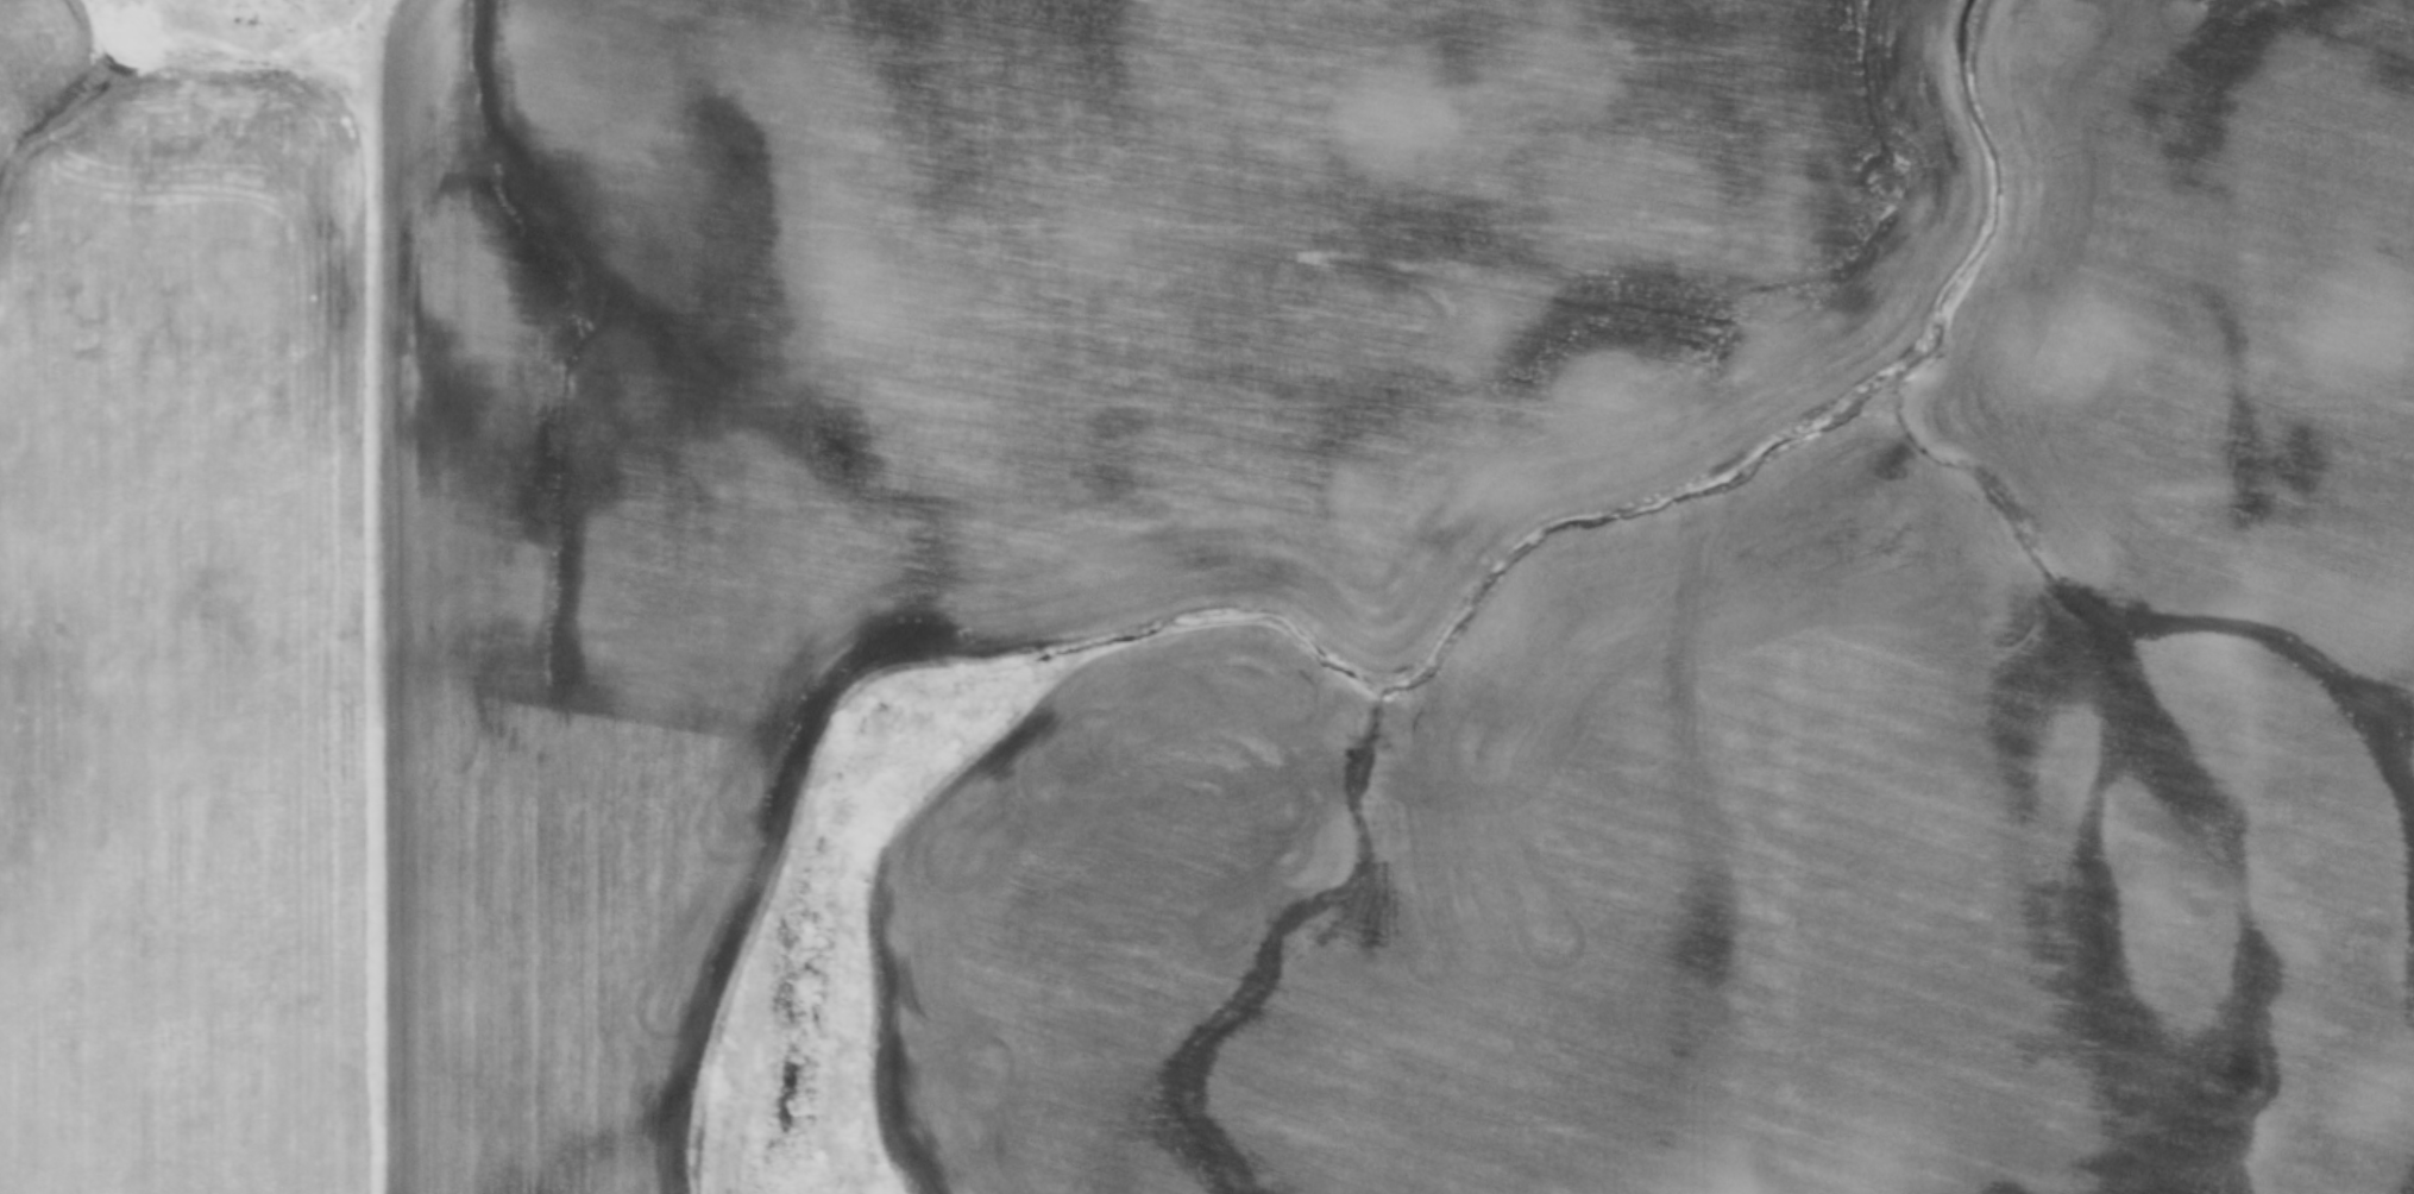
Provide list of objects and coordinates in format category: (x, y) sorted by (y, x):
road: (375, 597)

